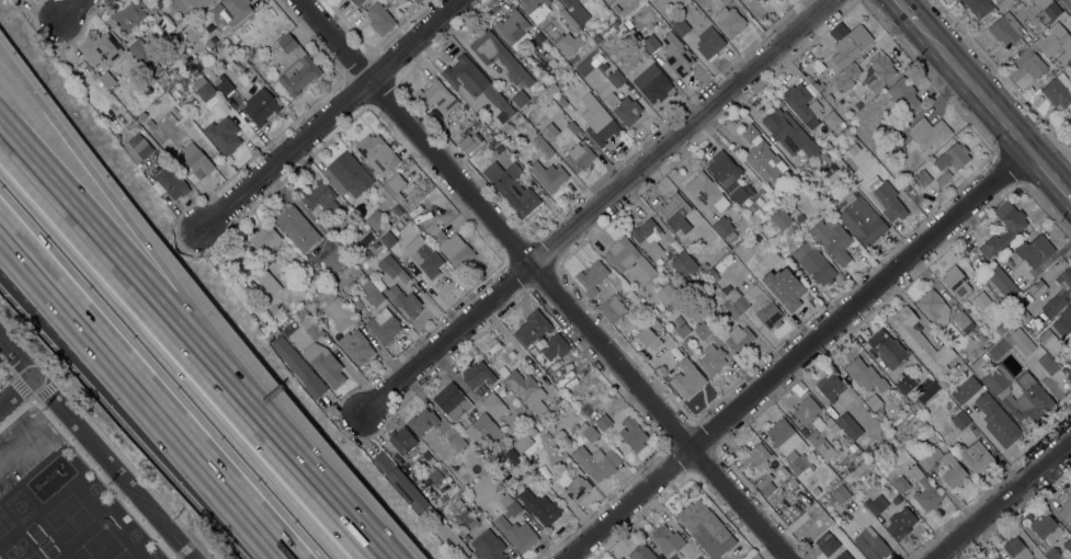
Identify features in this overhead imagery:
building: (16, 0)
building: (757, 0)
building: (764, 0)
building: (418, 1)
building: (761, 1)
building: (357, 2)
road: (1067, 3)
building: (1002, 4)
building: (191, 5)
building: (978, 7)
building: (535, 8)
road: (77, 9)
building: (616, 9)
building: (235, 10)
building: (576, 10)
building: (1047, 10)
road: (901, 11)
building: (127, 16)
building: (379, 19)
building: (162, 22)
building: (565, 22)
building: (730, 22)
building: (615, 23)
building: (679, 25)
building: (1039, 25)
building: (512, 27)
building: (1006, 30)
building: (596, 37)
building: (850, 38)
building: (709, 43)
building: (566, 44)
building: (650, 44)
building: (208, 45)
building: (546, 46)
building: (101, 48)
building: (1045, 50)
building: (231, 52)
building: (213, 54)
building: (676, 55)
building: (499, 57)
building: (548, 57)
building: (597, 57)
building: (150, 62)
building: (230, 65)
building: (296, 66)
building: (818, 66)
building: (880, 70)
building: (847, 76)
building: (616, 79)
building: (182, 81)
building: (653, 83)
building: (223, 84)
building: (817, 84)
building: (475, 85)
building: (204, 89)
building: (551, 89)
road: (968, 89)
building: (1058, 91)
building: (904, 95)
building: (189, 96)
building: (436, 96)
building: (520, 99)
building: (562, 102)
building: (800, 102)
building: (260, 106)
building: (620, 106)
building: (855, 107)
building: (569, 109)
road: (328, 112)
building: (134, 114)
building: (141, 117)
building: (832, 121)
building: (1069, 121)
building: (600, 124)
building: (572, 128)
building: (549, 132)
building: (788, 133)
building: (223, 135)
building: (847, 135)
building: (930, 135)
building: (167, 141)
building: (469, 141)
building: (139, 145)
building: (543, 147)
building: (827, 149)
building: (377, 155)
building: (882, 155)
building: (579, 157)
building: (762, 157)
building: (823, 157)
building: (953, 158)
building: (196, 162)
building: (829, 169)
building: (346, 174)
building: (548, 175)
building: (728, 175)
building: (943, 178)
building: (923, 179)
road: (1048, 180)
building: (171, 181)
building: (396, 186)
building: (512, 186)
building: (706, 192)
building: (321, 197)
building: (782, 197)
building: (388, 198)
building: (887, 199)
road: (600, 205)
building: (756, 212)
building: (795, 213)
building: (679, 216)
building: (799, 218)
building: (861, 218)
building: (375, 219)
building: (781, 219)
building: (1014, 227)
building: (297, 228)
building: (724, 228)
road: (187, 237)
building: (648, 237)
road: (137, 239)
building: (388, 239)
building: (832, 239)
building: (265, 240)
building: (365, 240)
building: (452, 247)
building: (1035, 251)
building: (353, 252)
building: (425, 258)
building: (628, 259)
building: (334, 260)
building: (659, 261)
building: (725, 262)
building: (683, 263)
building: (814, 263)
building: (250, 265)
building: (705, 266)
building: (392, 269)
building: (312, 274)
building: (711, 274)
building: (592, 277)
road: (134, 278)
road: (545, 278)
building: (266, 281)
building: (956, 283)
building: (1003, 283)
building: (784, 287)
building: (372, 293)
building: (665, 294)
building: (1059, 294)
building: (981, 300)
building: (1026, 300)
building: (405, 301)
building: (741, 305)
building: (730, 308)
building: (934, 308)
building: (613, 309)
building: (299, 311)
building: (337, 311)
building: (653, 311)
road: (64, 318)
building: (960, 319)
building: (1061, 321)
building: (384, 326)
building: (310, 327)
building: (681, 327)
building: (700, 330)
building: (1000, 331)
building: (540, 335)
building: (648, 338)
building: (739, 339)
building: (1022, 341)
building: (1050, 341)
building: (921, 342)
building: (356, 346)
building: (887, 349)
building: (999, 349)
road: (797, 356)
building: (983, 358)
building: (711, 360)
building: (323, 364)
building: (978, 364)
building: (1047, 365)
building: (298, 367)
building: (959, 369)
road: (38, 370)
building: (477, 375)
building: (865, 375)
building: (687, 379)
building: (943, 381)
building: (993, 381)
building: (907, 384)
building: (830, 387)
building: (525, 388)
building: (965, 389)
road: (15, 391)
building: (924, 395)
road: (143, 396)
building: (1029, 399)
building: (452, 401)
building: (874, 402)
building: (493, 406)
building: (806, 409)
building: (996, 420)
building: (423, 421)
building: (829, 421)
building: (960, 421)
building: (603, 422)
building: (818, 424)
building: (848, 425)
building: (536, 427)
building: (893, 427)
building: (588, 432)
building: (483, 433)
building: (531, 433)
building: (633, 433)
building: (401, 440)
building: (456, 442)
building: (818, 442)
building: (905, 443)
building: (528, 445)
building: (790, 448)
road: (94, 450)
building: (866, 450)
building: (425, 455)
building: (511, 455)
building: (976, 456)
building: (755, 457)
building: (874, 457)
building: (501, 459)
building: (596, 461)
building: (925, 463)
building: (858, 469)
building: (952, 471)
building: (784, 472)
building: (434, 476)
building: (546, 477)
building: (400, 482)
building: (573, 486)
building: (765, 486)
building: (499, 487)
building: (930, 490)
building: (816, 492)
road: (324, 494)
building: (841, 494)
building: (897, 499)
road: (1003, 500)
building: (458, 503)
building: (876, 504)
building: (510, 505)
building: (539, 506)
building: (1067, 510)
building: (468, 517)
building: (435, 518)
building: (818, 522)
building: (900, 524)
building: (704, 528)
building: (1047, 528)
building: (462, 529)
building: (516, 534)
building: (466, 538)
building: (666, 539)
building: (452, 540)
building: (827, 543)
building: (870, 545)
building: (1067, 545)
building: (488, 546)
building: (1016, 549)
building: (641, 552)
building: (1053, 554)
building: (843, 556)
building: (673, 557)
building: (699, 557)
building: (995, 558)

